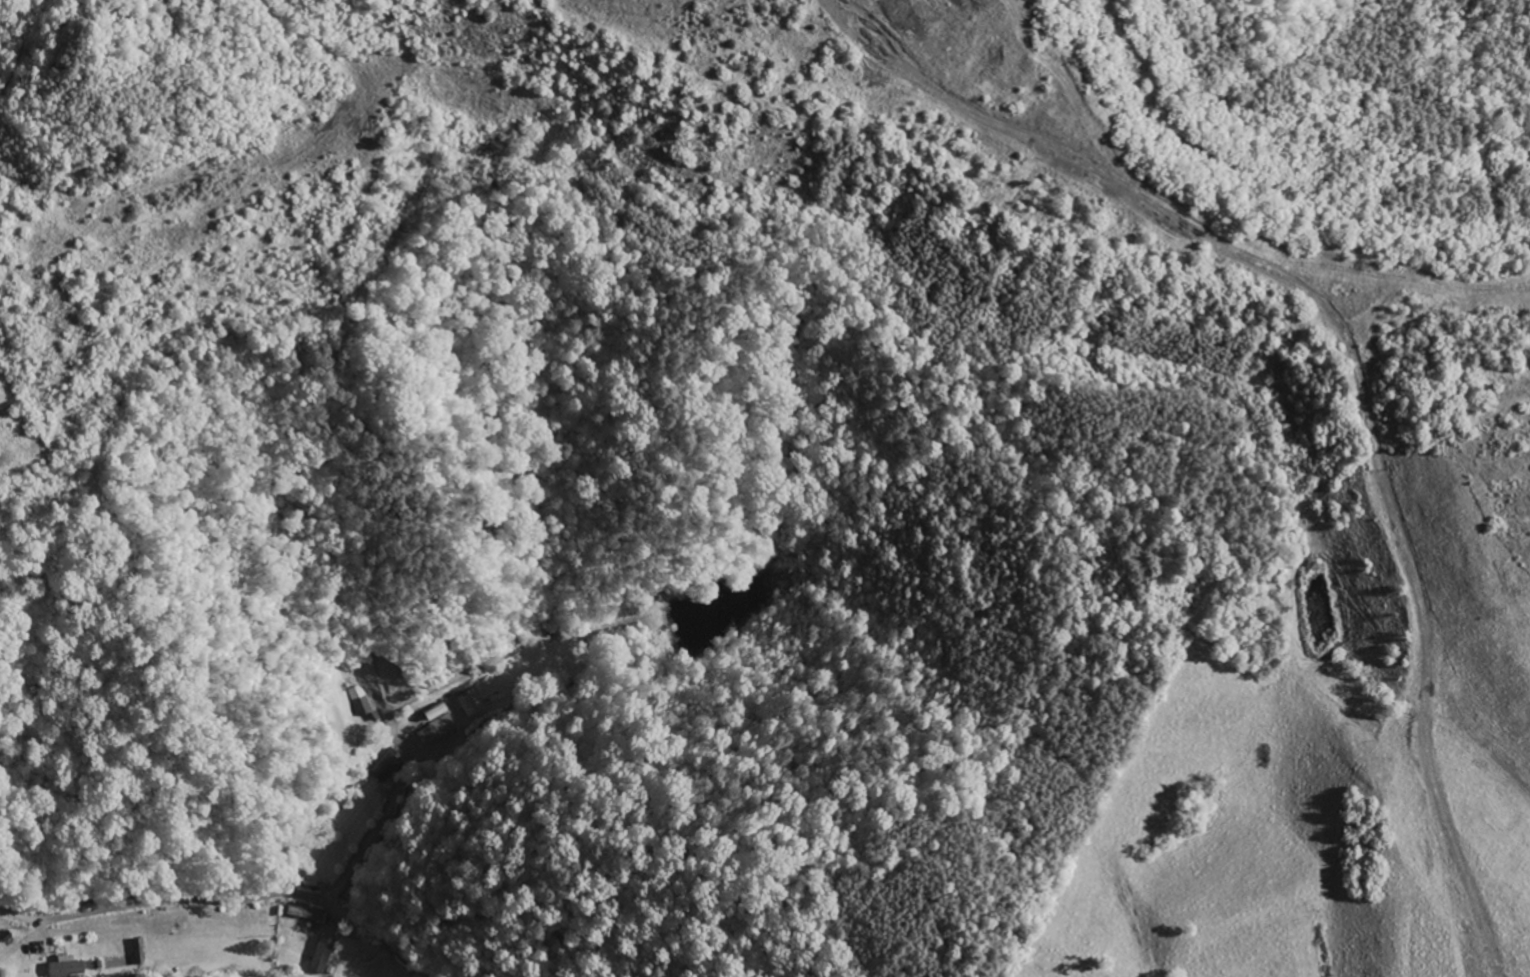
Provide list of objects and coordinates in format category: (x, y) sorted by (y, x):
building: (471, 704)
building: (440, 728)
building: (388, 766)
road: (165, 900)
building: (310, 915)
building: (324, 956)
building: (68, 968)

